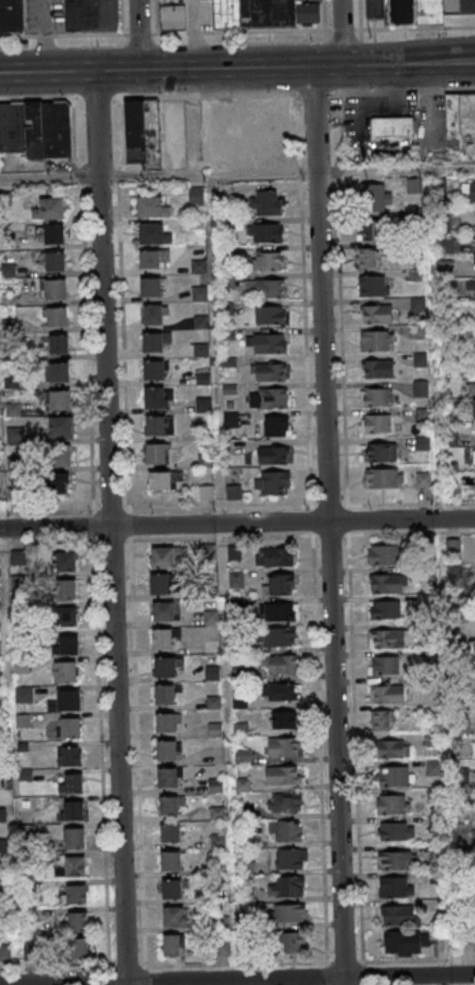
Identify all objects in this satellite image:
building: (467, 6)
building: (406, 11)
building: (263, 13)
building: (91, 15)
building: (12, 16)
building: (173, 17)
road: (414, 27)
road: (342, 29)
road: (242, 31)
road: (139, 33)
road: (341, 33)
road: (62, 34)
road: (138, 34)
road: (44, 36)
road: (237, 68)
building: (461, 119)
building: (392, 126)
building: (37, 129)
building: (142, 130)
building: (0, 165)
road: (237, 174)
building: (469, 190)
building: (379, 196)
building: (265, 202)
building: (152, 206)
building: (49, 209)
building: (368, 230)
building: (266, 232)
building: (51, 234)
building: (153, 234)
building: (369, 258)
building: (154, 259)
building: (269, 260)
building: (55, 262)
building: (198, 266)
building: (374, 285)
building: (153, 286)
building: (473, 286)
building: (265, 288)
building: (55, 290)
building: (200, 293)
building: (155, 314)
building: (270, 314)
building: (376, 314)
building: (56, 317)
building: (377, 340)
building: (155, 341)
building: (266, 343)
building: (58, 344)
building: (228, 367)
building: (378, 368)
building: (154, 370)
building: (269, 371)
building: (59, 372)
building: (420, 388)
building: (471, 388)
building: (376, 396)
building: (156, 397)
building: (270, 397)
building: (58, 400)
building: (473, 409)
building: (376, 423)
building: (159, 425)
building: (277, 425)
building: (57, 427)
building: (381, 452)
building: (157, 453)
building: (58, 455)
building: (273, 455)
building: (384, 478)
building: (164, 480)
building: (423, 480)
building: (272, 483)
building: (56, 484)
building: (206, 492)
building: (234, 492)
road: (237, 523)
road: (328, 525)
road: (110, 528)
building: (453, 547)
building: (384, 554)
building: (168, 557)
building: (274, 557)
building: (19, 559)
building: (65, 563)
road: (440, 578)
building: (236, 579)
road: (222, 580)
building: (386, 583)
building: (159, 584)
building: (279, 585)
building: (66, 590)
building: (385, 609)
building: (165, 612)
building: (280, 612)
building: (211, 617)
building: (66, 618)
building: (390, 636)
building: (280, 637)
building: (162, 640)
building: (68, 645)
building: (278, 665)
building: (385, 665)
building: (165, 668)
building: (65, 672)
building: (0, 679)
building: (282, 691)
building: (389, 693)
building: (23, 694)
building: (167, 695)
building: (66, 701)
building: (284, 719)
building: (383, 720)
building: (168, 722)
building: (70, 727)
building: (285, 748)
building: (393, 748)
building: (169, 750)
building: (69, 756)
building: (397, 775)
building: (283, 776)
building: (168, 777)
building: (70, 783)
building: (285, 803)
building: (394, 804)
building: (170, 806)
building: (72, 810)
building: (397, 830)
building: (286, 832)
building: (170, 833)
building: (74, 838)
building: (218, 841)
building: (291, 859)
building: (397, 860)
building: (171, 861)
building: (72, 867)
building: (287, 886)
building: (395, 887)
building: (172, 889)
building: (76, 894)
building: (249, 895)
building: (291, 914)
building: (175, 916)
building: (397, 916)
building: (77, 921)
building: (290, 942)
building: (405, 943)
building: (174, 945)
building: (222, 948)
building: (78, 949)
road: (238, 979)

